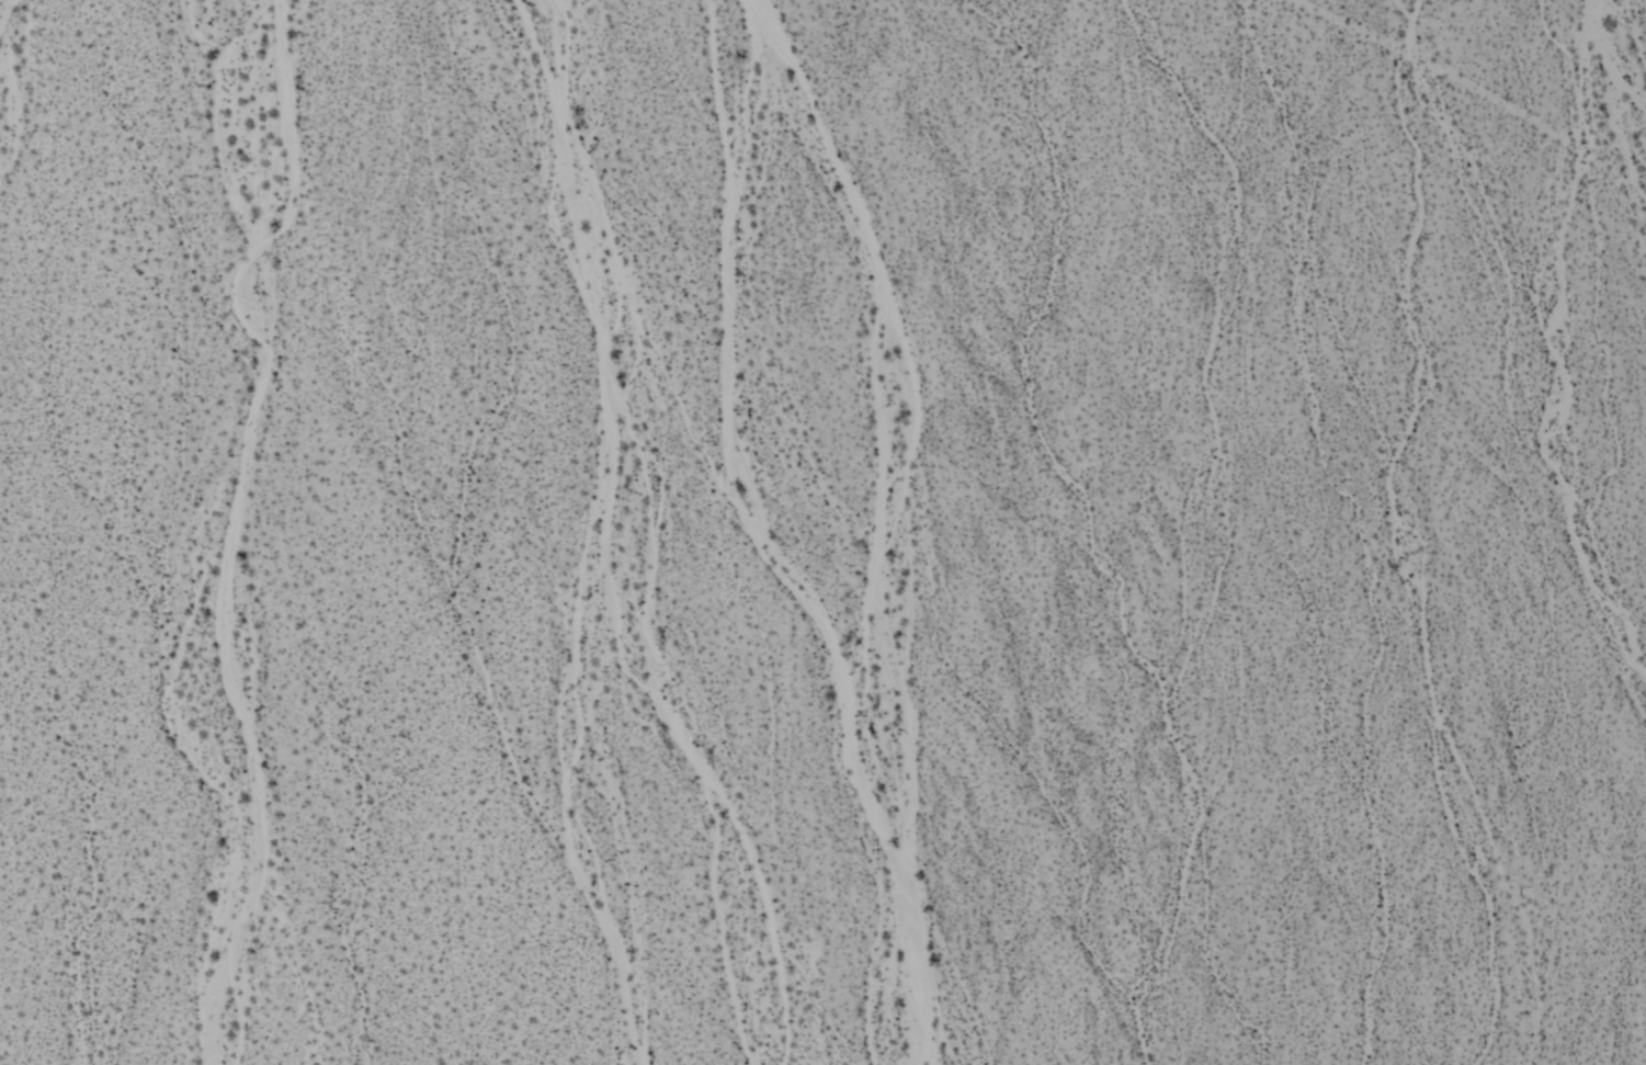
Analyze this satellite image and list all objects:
road: (1467, 102)

